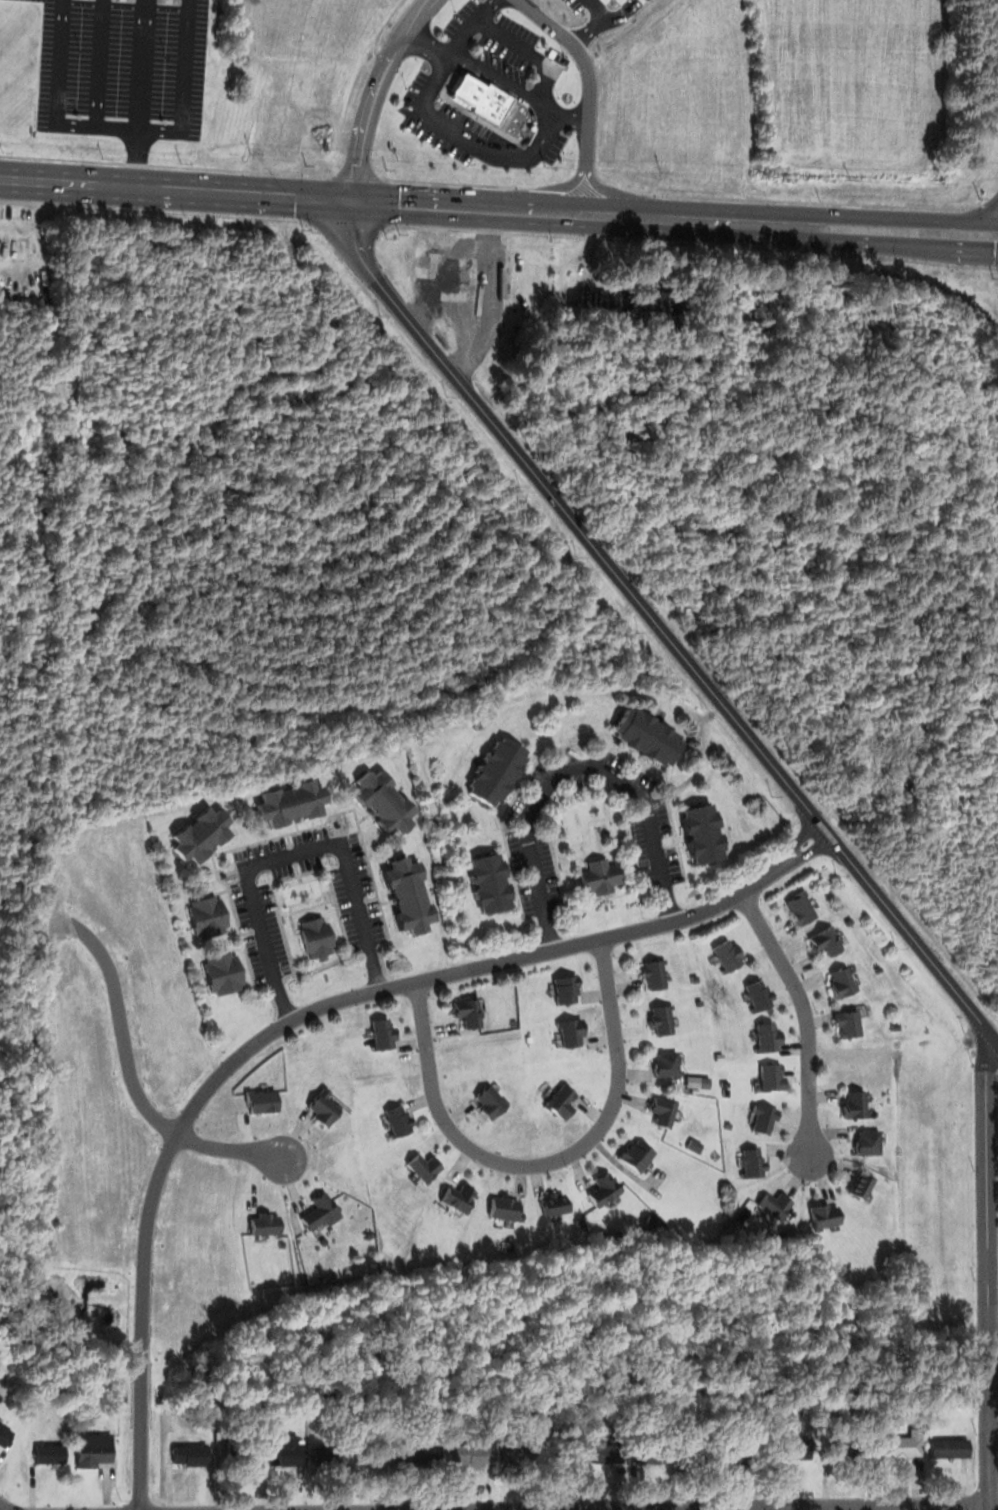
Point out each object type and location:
road: (455, 46)
road: (98, 63)
road: (542, 67)
road: (500, 76)
crop: (857, 83)
road: (138, 92)
road: (589, 92)
road: (375, 93)
road: (122, 127)
road: (450, 127)
road: (547, 135)
road: (176, 187)
traffic signals: (352, 200)
road: (544, 210)
road: (867, 217)
road: (867, 238)
building: (616, 299)
road: (652, 619)
building: (651, 734)
road: (575, 770)
building: (498, 771)
building: (293, 801)
building: (386, 801)
building: (202, 834)
building: (705, 834)
road: (802, 834)
road: (813, 850)
road: (288, 857)
building: (601, 877)
building: (492, 883)
building: (411, 895)
building: (838, 905)
building: (800, 907)
building: (209, 913)
building: (848, 921)
building: (317, 935)
building: (827, 940)
building: (730, 956)
building: (878, 969)
building: (224, 972)
building: (655, 973)
building: (694, 979)
building: (844, 980)
building: (568, 990)
building: (759, 995)
building: (700, 1001)
building: (469, 1010)
building: (892, 1012)
road: (805, 1015)
building: (661, 1018)
building: (513, 1021)
building: (849, 1022)
road: (284, 1023)
building: (893, 1025)
building: (384, 1033)
building: (570, 1033)
building: (768, 1036)
road: (991, 1036)
building: (529, 1038)
building: (665, 1065)
building: (347, 1067)
building: (725, 1072)
building: (773, 1077)
building: (704, 1082)
road: (135, 1083)
building: (491, 1100)
building: (559, 1101)
building: (855, 1104)
building: (326, 1110)
building: (663, 1112)
building: (764, 1117)
building: (400, 1121)
building: (728, 1124)
building: (868, 1143)
building: (713, 1153)
building: (635, 1156)
road: (543, 1162)
building: (752, 1162)
building: (425, 1169)
building: (861, 1185)
building: (605, 1188)
building: (658, 1193)
building: (459, 1198)
building: (777, 1203)
building: (554, 1204)
building: (506, 1208)
building: (320, 1210)
building: (827, 1215)
building: (651, 1219)
building: (578, 1222)
building: (369, 1233)
building: (509, 1246)
building: (412, 1249)
road: (992, 1265)
road: (987, 1268)
building: (5, 1434)
building: (903, 1446)
building: (950, 1447)
building: (850, 1448)
building: (95, 1449)
building: (223, 1450)
building: (567, 1451)
building: (50, 1452)
building: (524, 1452)
building: (287, 1453)
building: (380, 1453)
building: (425, 1453)
building: (798, 1453)
building: (475, 1454)
building: (610, 1454)
building: (655, 1454)
building: (705, 1454)
building: (190, 1455)
building: (332, 1455)
building: (752, 1455)
building: (238, 1457)
road: (686, 1503)
road: (4, 1506)
road: (561, 1508)

